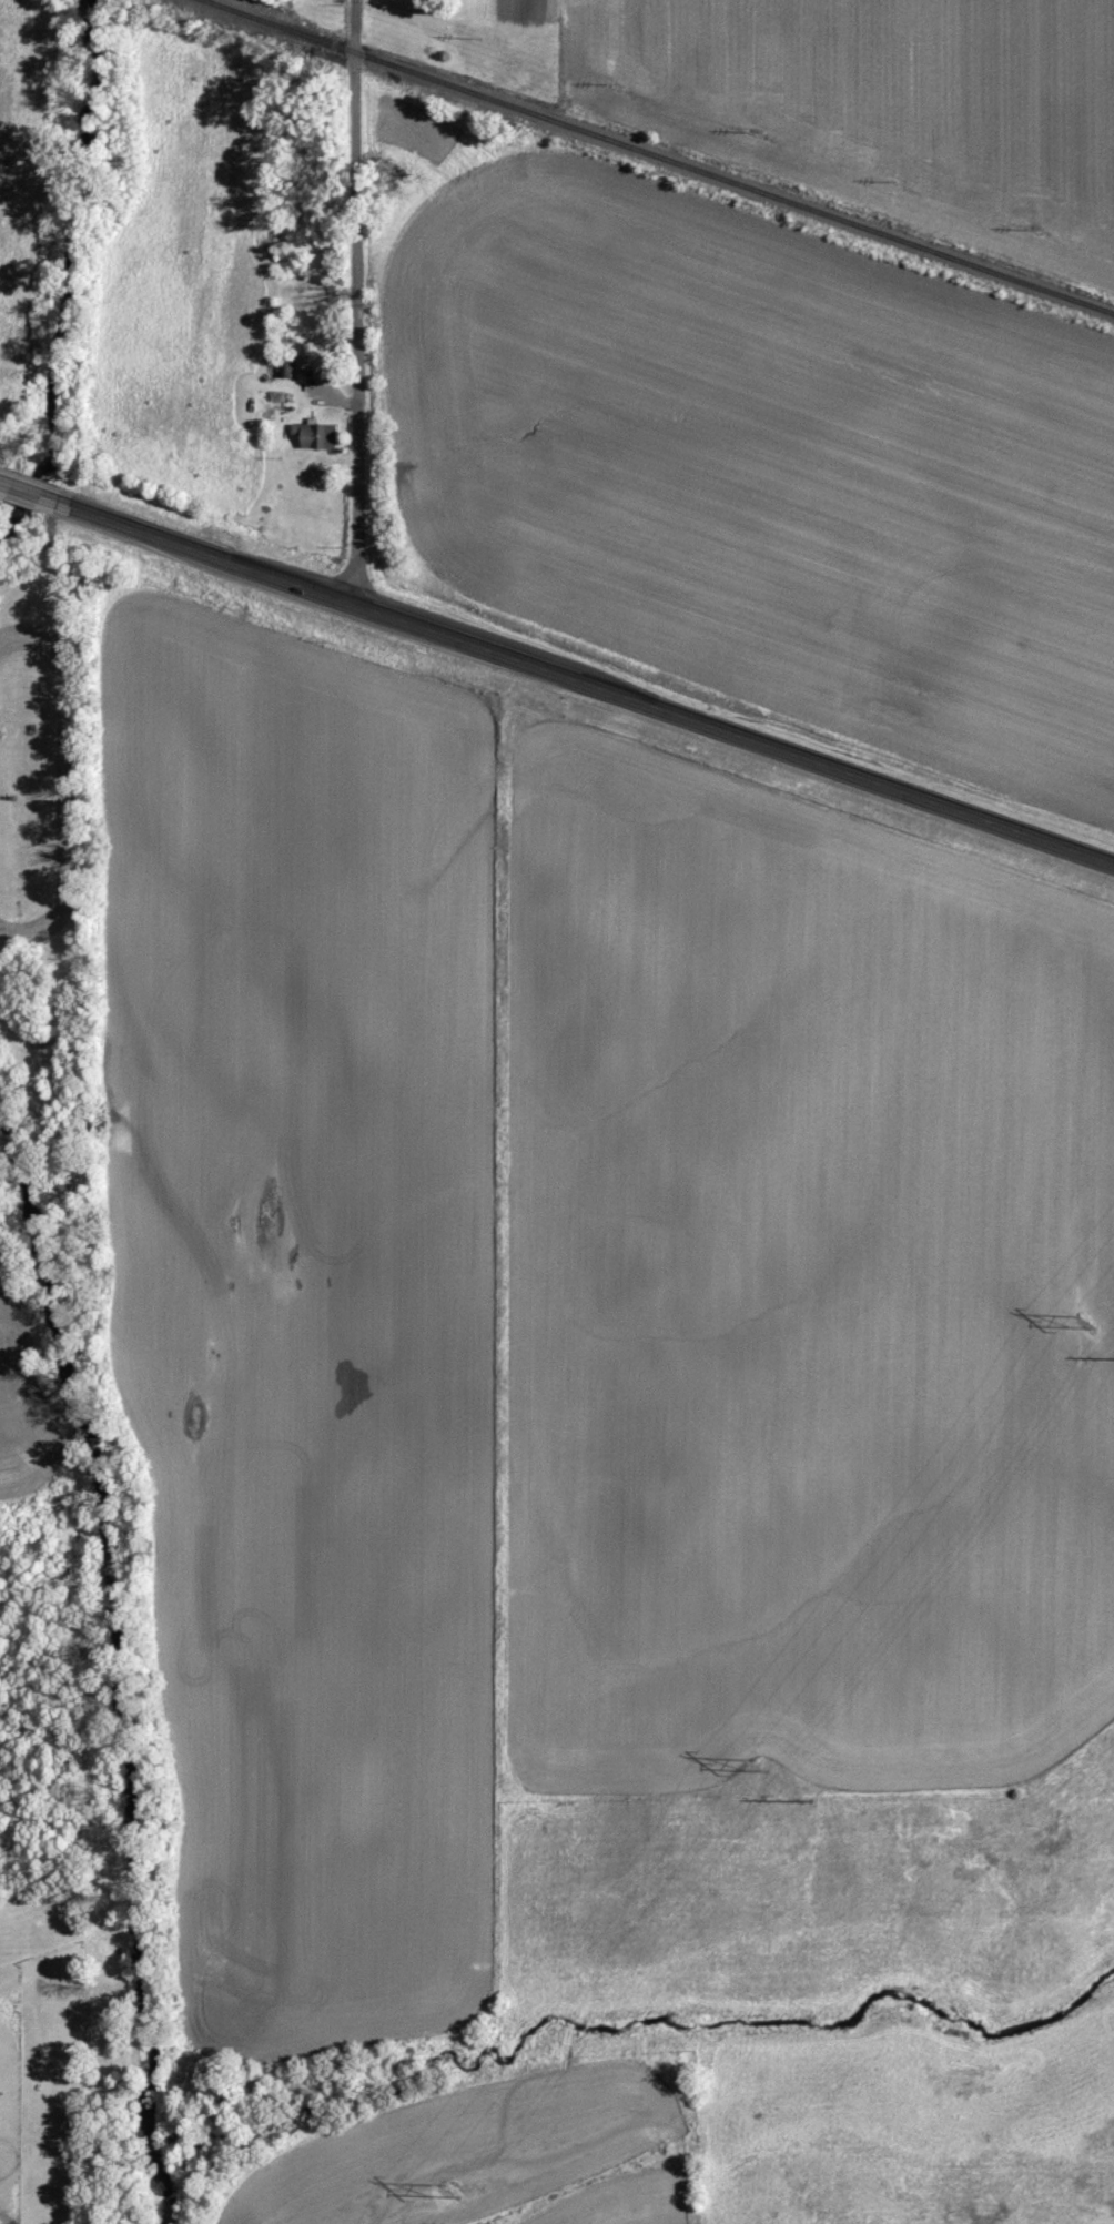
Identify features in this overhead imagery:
railway: (664, 155)
road: (356, 300)
road: (8, 483)
road: (37, 494)
road: (586, 679)
power tower: (1083, 1318)
power tower: (762, 1758)
power tower: (450, 2184)

